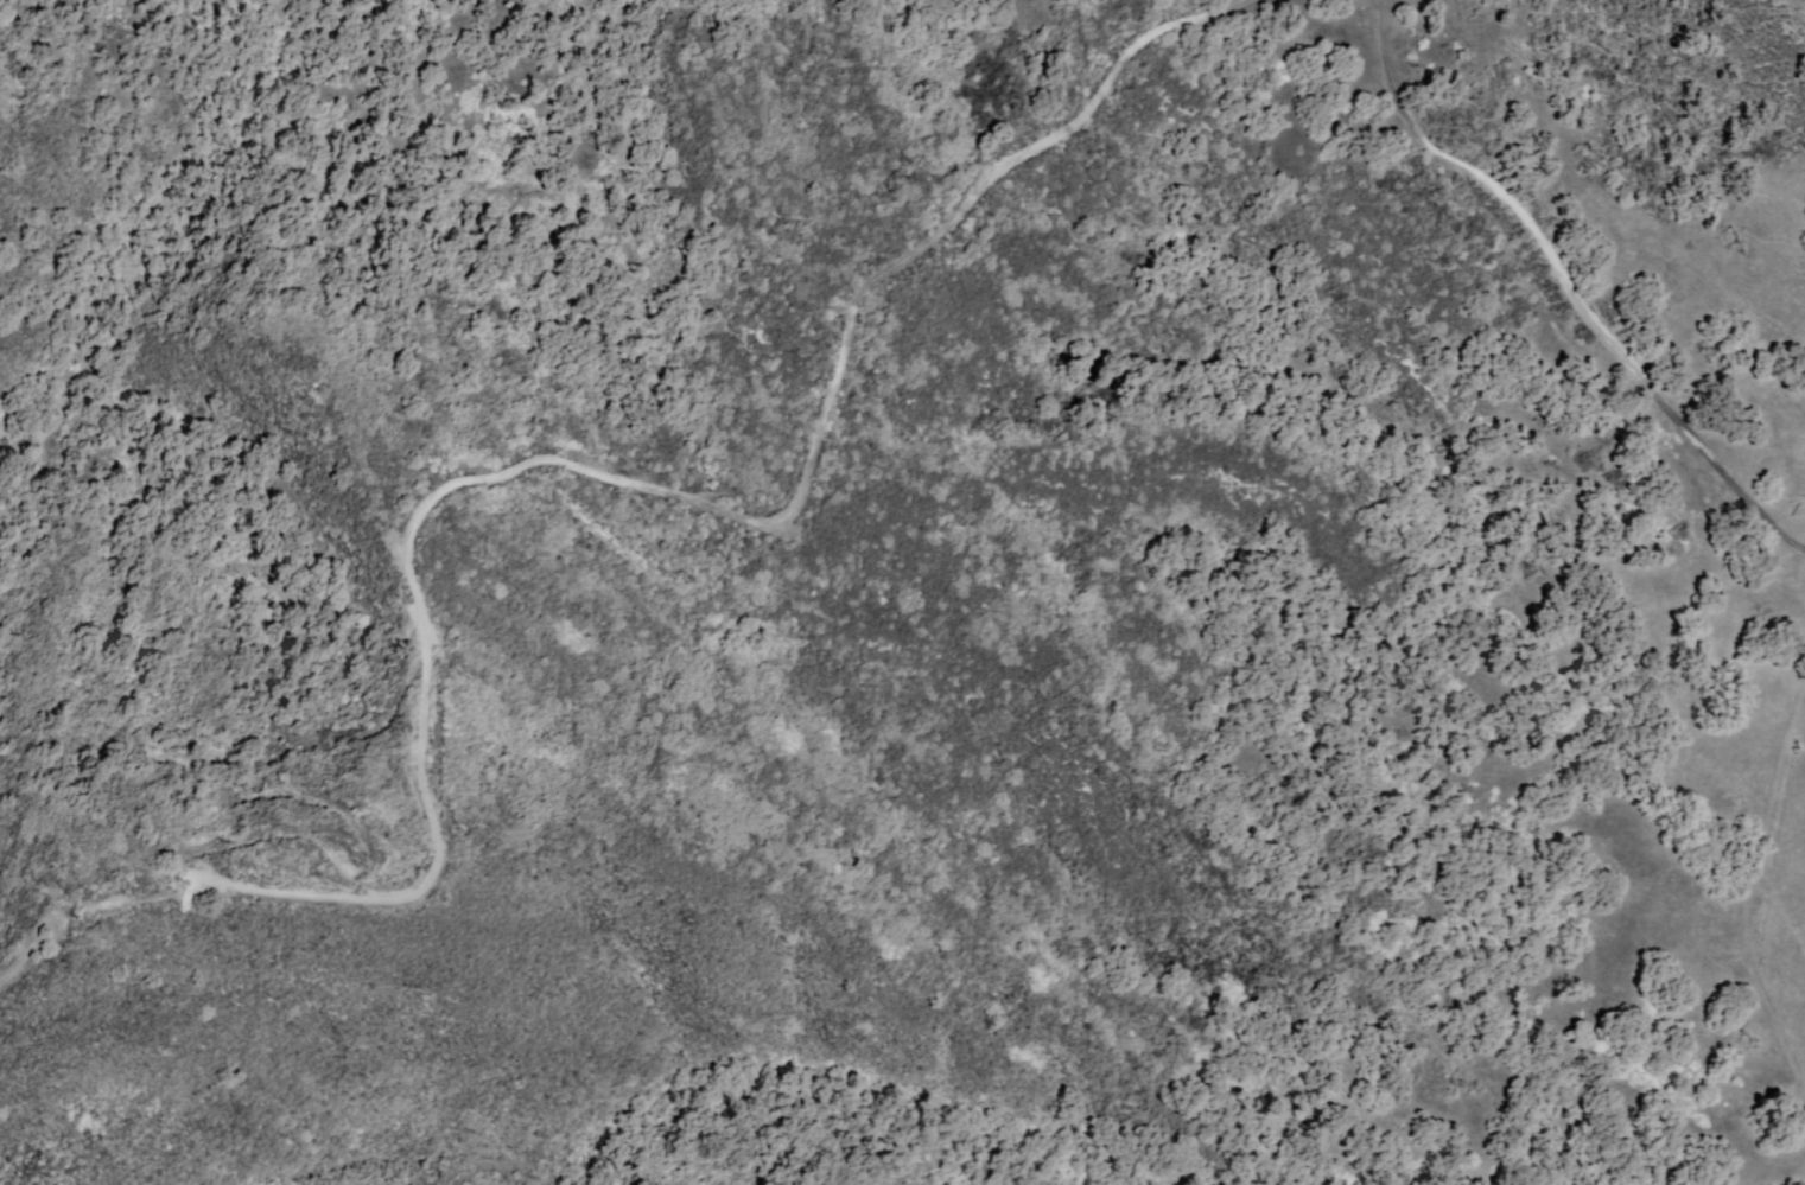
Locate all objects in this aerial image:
road: (1747, 887)

